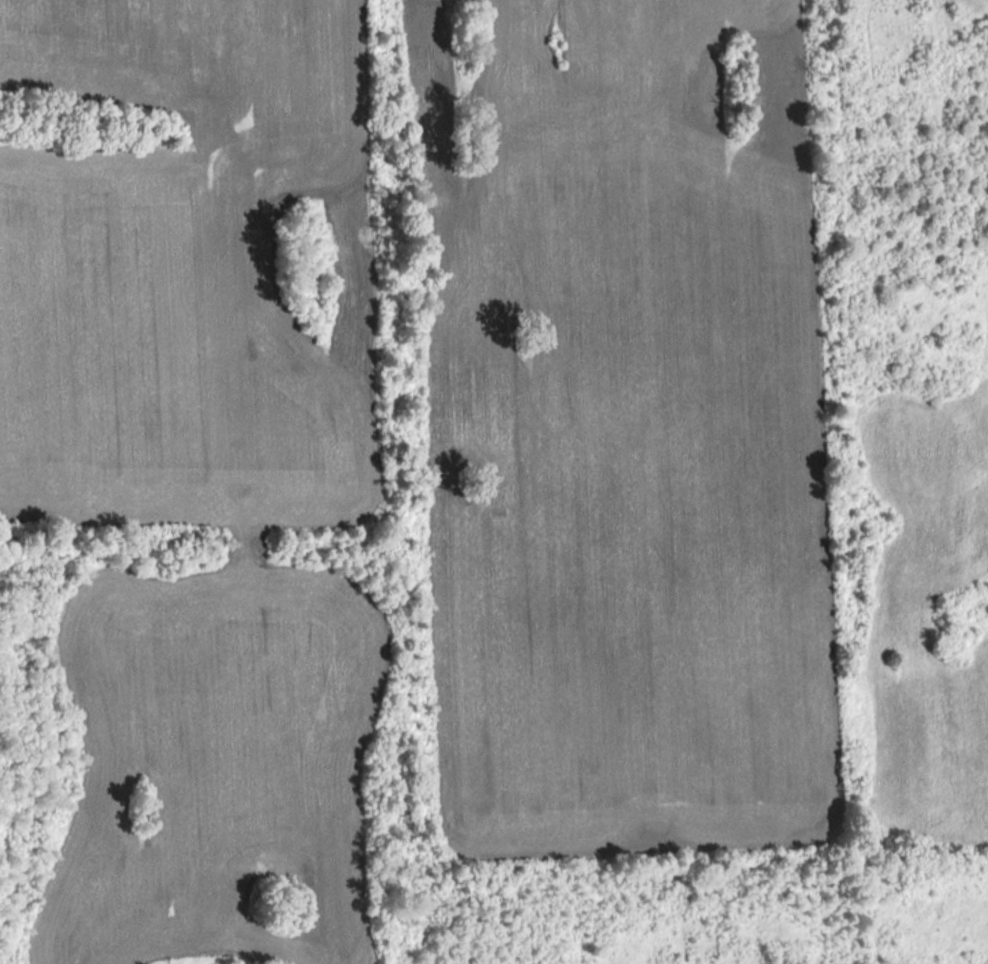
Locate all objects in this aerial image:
crop: (192, 271)
crop: (621, 428)
crop: (929, 615)
crop: (215, 763)

